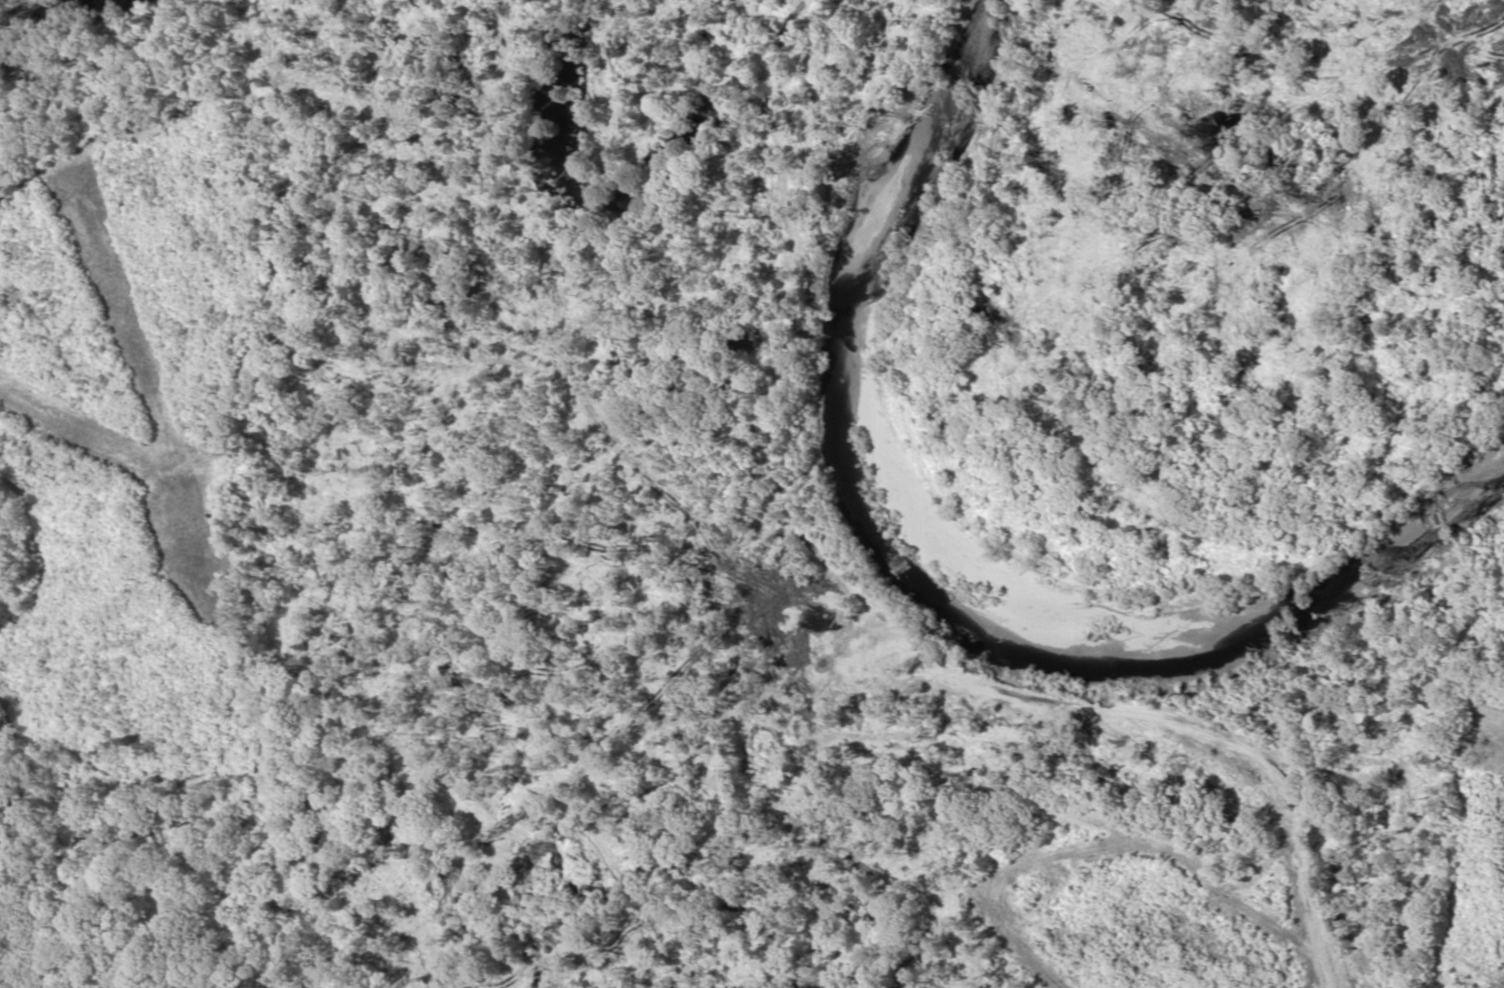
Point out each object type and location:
road: (1339, 298)

